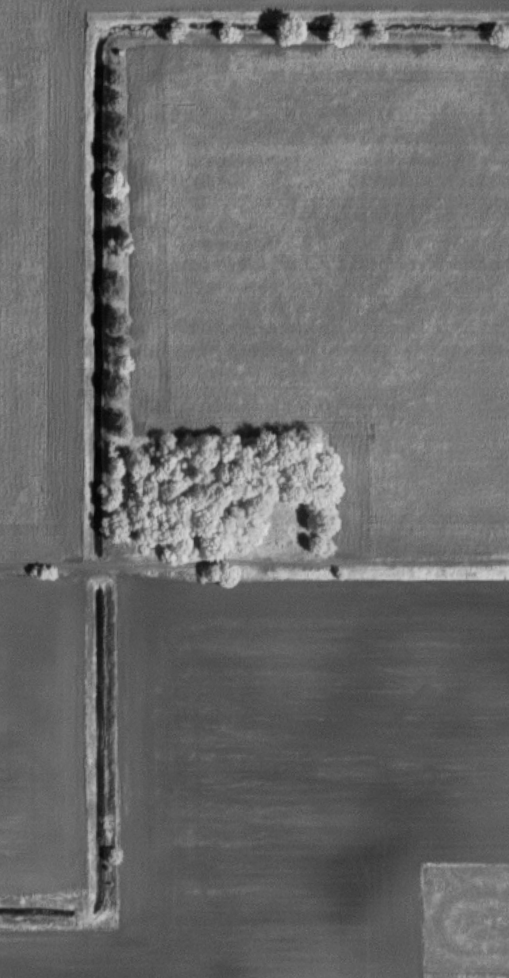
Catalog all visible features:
road: (54, 9)

